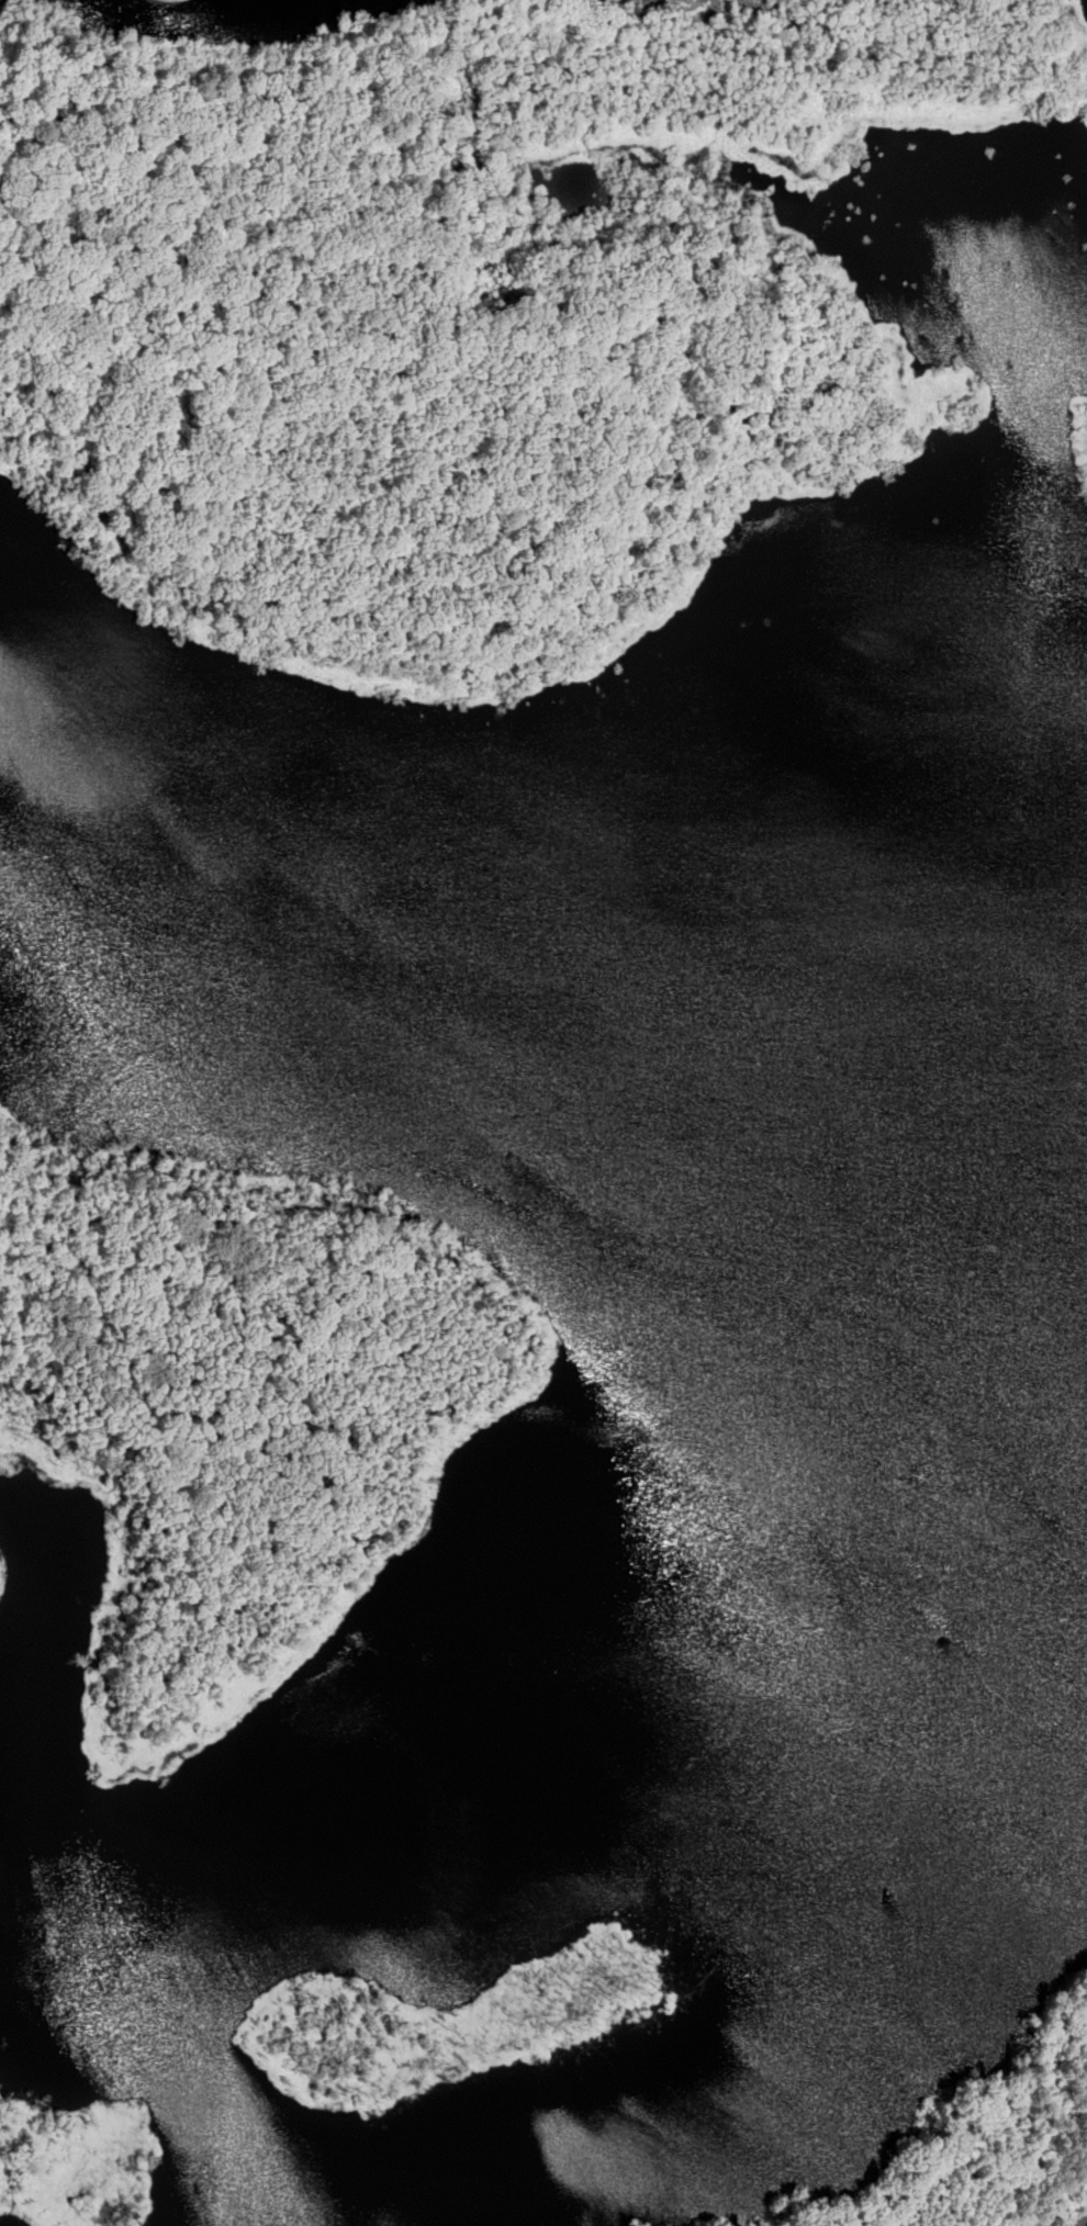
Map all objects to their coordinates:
river: (206, 31)
railway: (1086, 2225)

